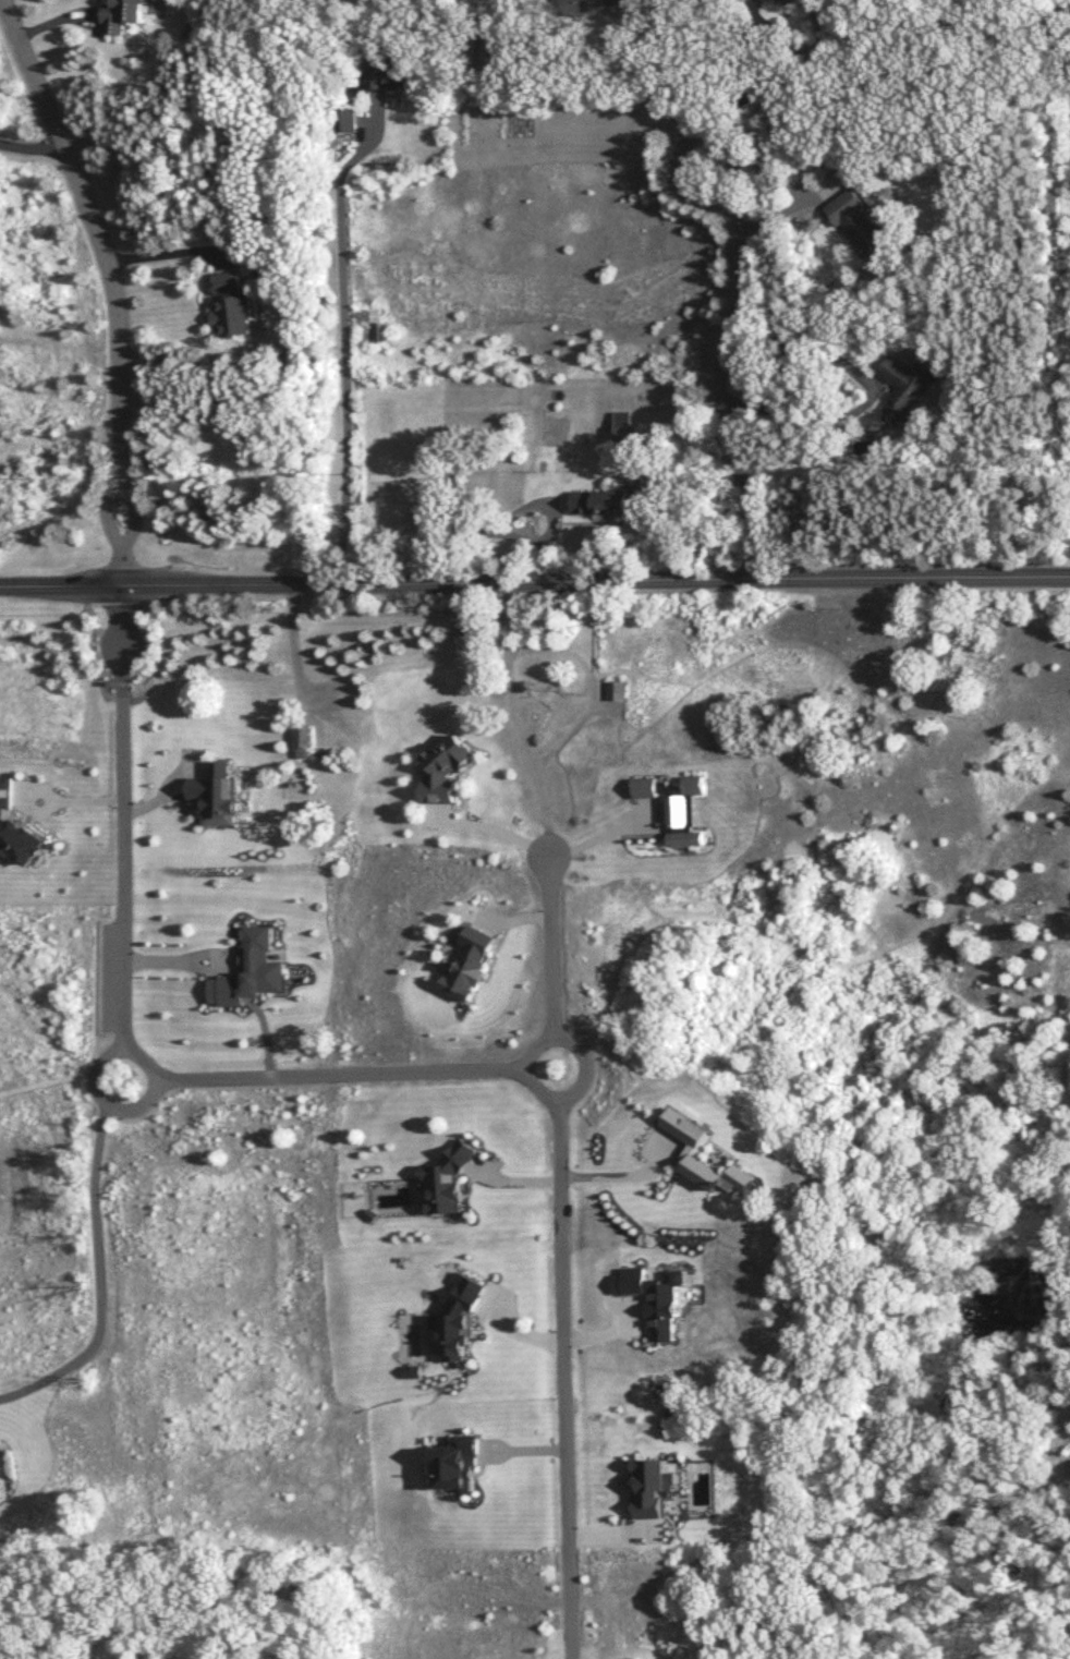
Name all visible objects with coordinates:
building: (582, 7)
building: (120, 16)
building: (490, 50)
building: (384, 73)
road: (741, 74)
road: (648, 77)
building: (343, 122)
road: (31, 148)
building: (856, 227)
road: (165, 250)
road: (112, 282)
road: (739, 294)
building: (234, 303)
road: (802, 353)
road: (342, 370)
building: (902, 387)
building: (623, 438)
building: (601, 506)
road: (518, 511)
road: (535, 582)
building: (618, 692)
road: (516, 720)
building: (301, 743)
road: (47, 799)
road: (120, 819)
road: (491, 828)
road: (603, 835)
road: (550, 947)
road: (126, 1053)
road: (523, 1068)
road: (337, 1076)
building: (684, 1078)
road: (618, 1172)
road: (98, 1272)
road: (563, 1378)

